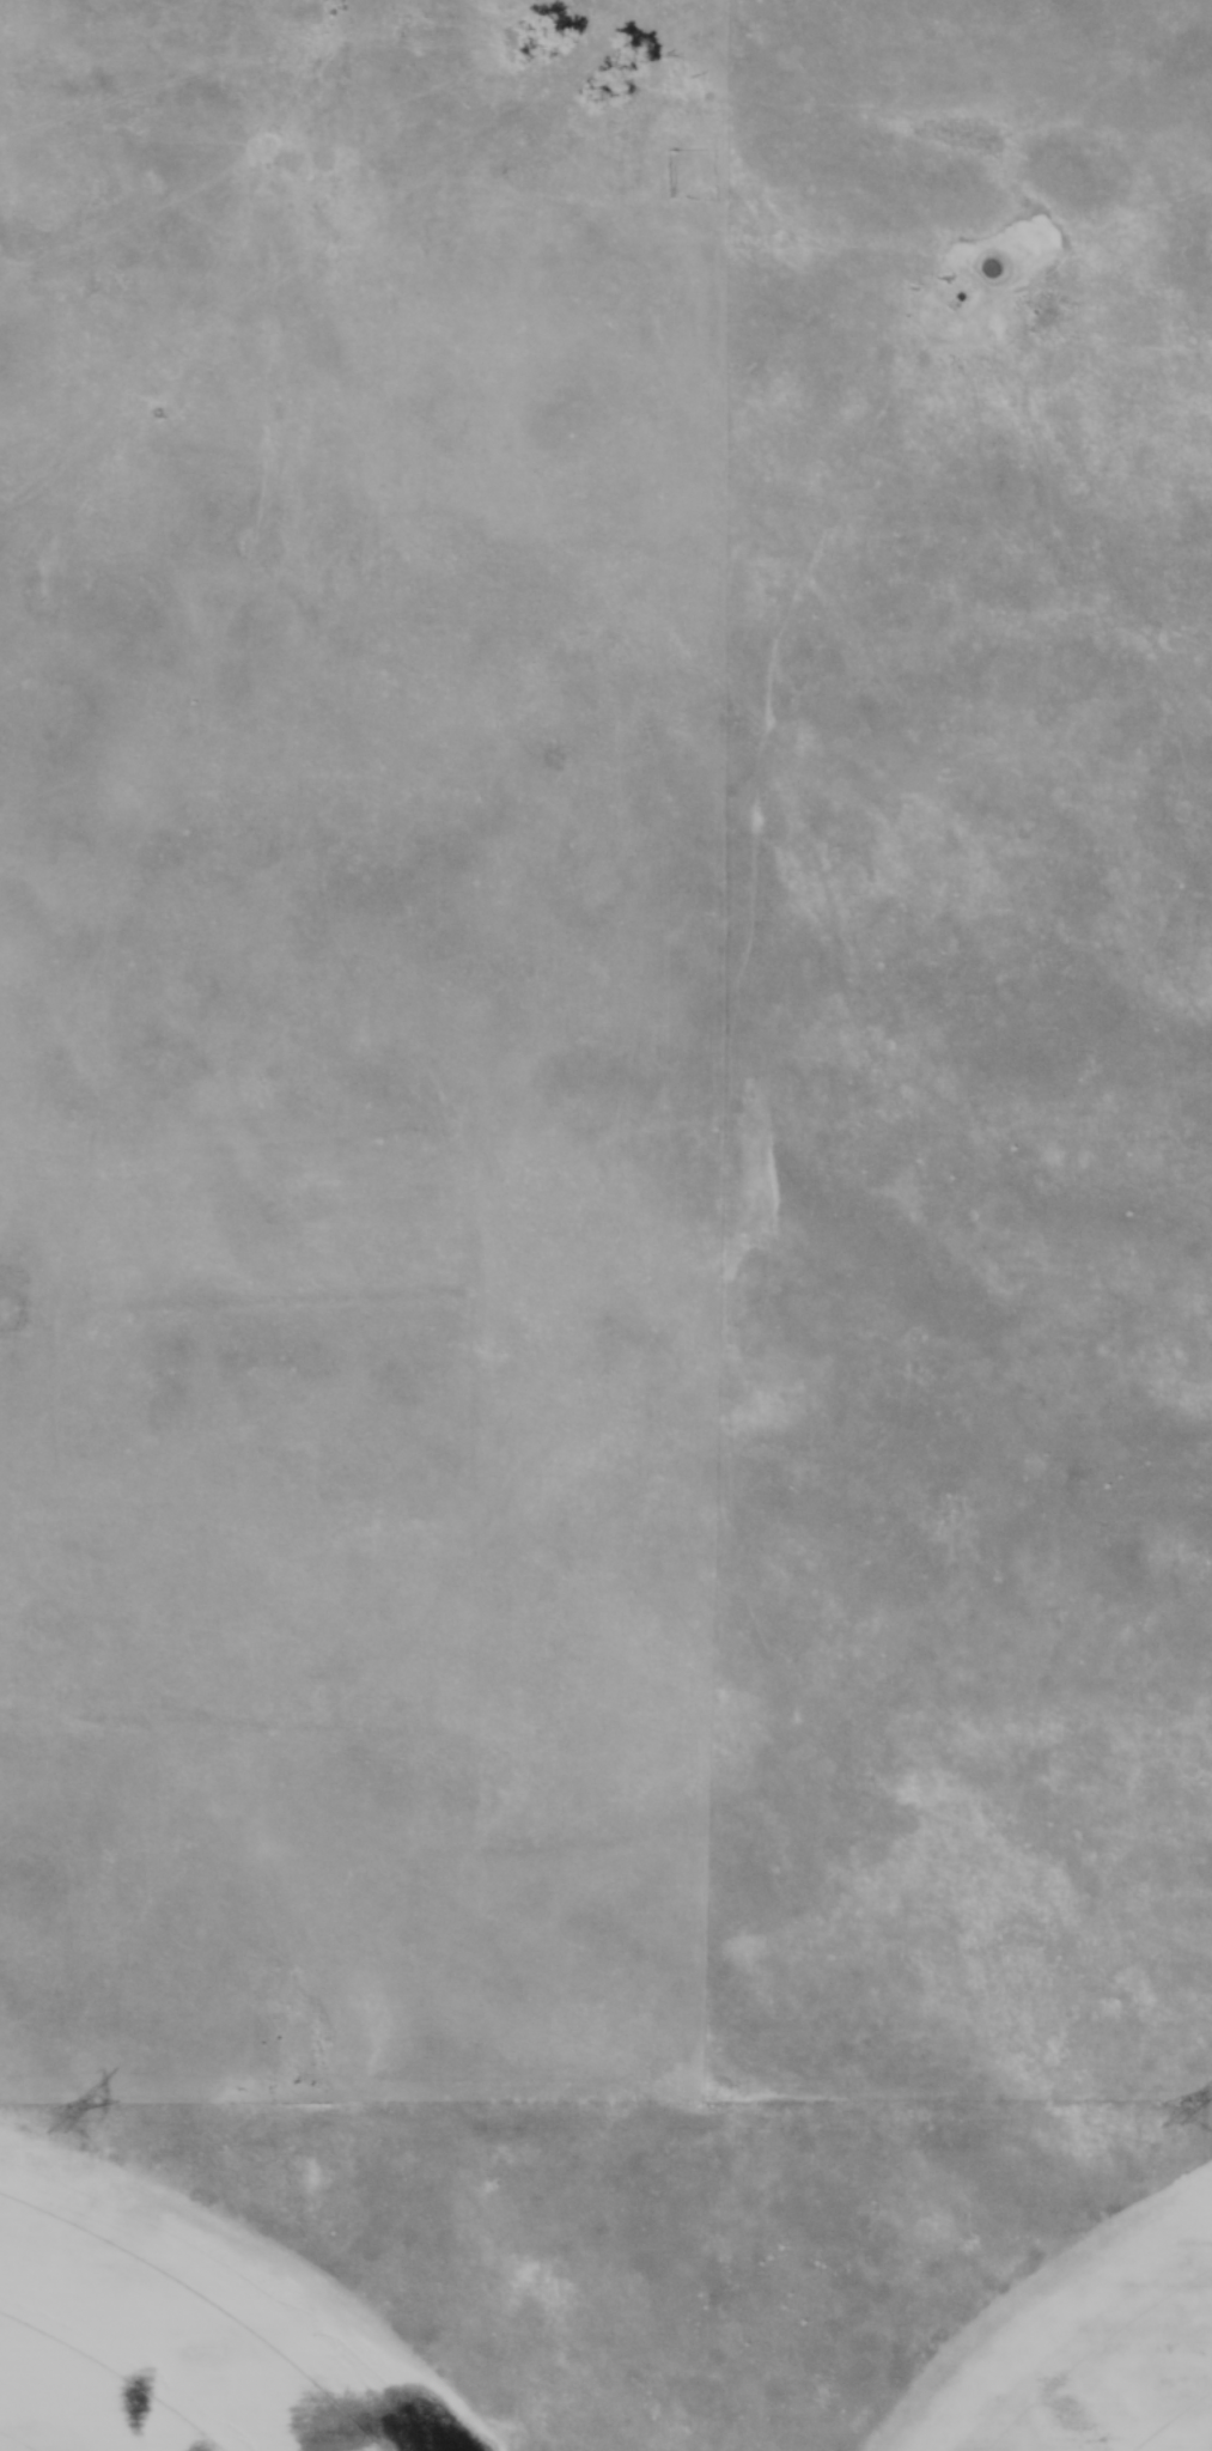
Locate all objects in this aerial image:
power tower: (1170, 2116)
power tower: (53, 2121)

